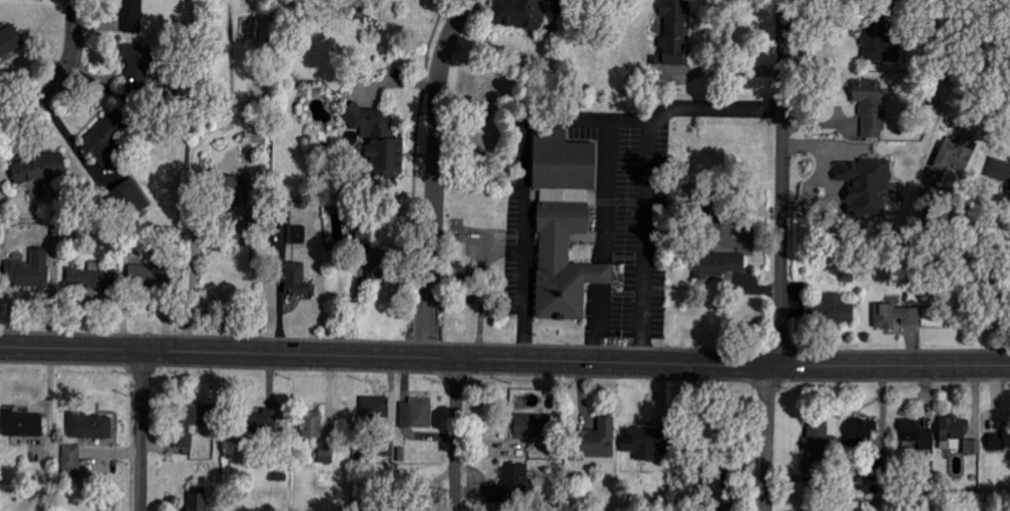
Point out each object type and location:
building: (520, 13)
building: (132, 16)
building: (674, 32)
building: (10, 41)
building: (880, 41)
road: (68, 63)
building: (137, 64)
building: (871, 108)
road: (12, 113)
building: (107, 134)
building: (379, 142)
building: (957, 156)
building: (999, 170)
road: (642, 171)
road: (436, 177)
road: (519, 179)
road: (782, 183)
building: (865, 185)
building: (233, 190)
road: (601, 191)
building: (564, 224)
building: (297, 234)
road: (997, 262)
building: (376, 263)
building: (719, 264)
road: (950, 265)
building: (29, 270)
road: (188, 270)
road: (596, 271)
building: (144, 276)
building: (89, 277)
building: (296, 278)
building: (469, 292)
building: (838, 309)
building: (896, 316)
road: (593, 322)
road: (504, 361)
building: (375, 406)
building: (417, 413)
building: (192, 421)
building: (23, 424)
building: (312, 424)
building: (90, 426)
building: (531, 426)
road: (142, 431)
building: (863, 431)
building: (952, 433)
road: (456, 435)
building: (916, 435)
road: (767, 439)
building: (597, 440)
building: (644, 442)
building: (818, 443)
building: (999, 443)
building: (972, 447)
building: (326, 456)
building: (72, 460)
building: (279, 473)
building: (713, 491)
building: (198, 502)
building: (852, 510)

